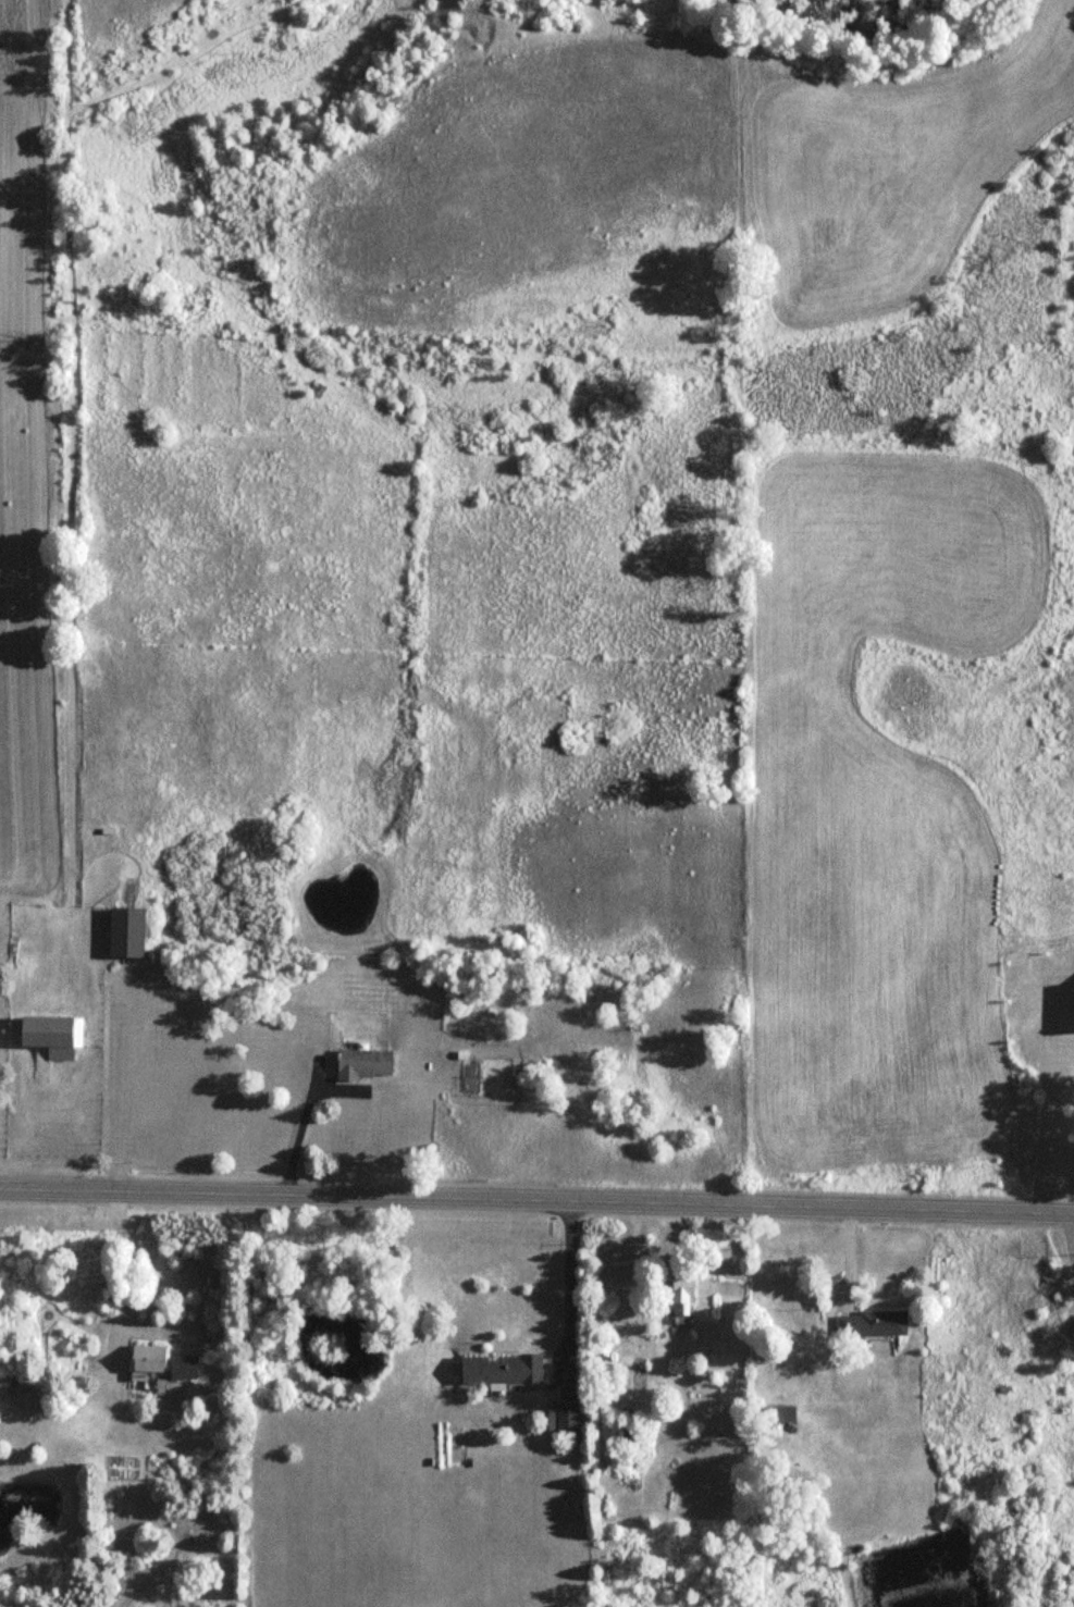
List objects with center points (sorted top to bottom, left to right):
building: (124, 931)
building: (50, 1035)
building: (362, 1064)
road: (536, 1198)
building: (680, 1298)
building: (871, 1324)
building: (146, 1359)
building: (181, 1363)
building: (490, 1370)
building: (2, 1384)
building: (781, 1414)
building: (566, 1419)

